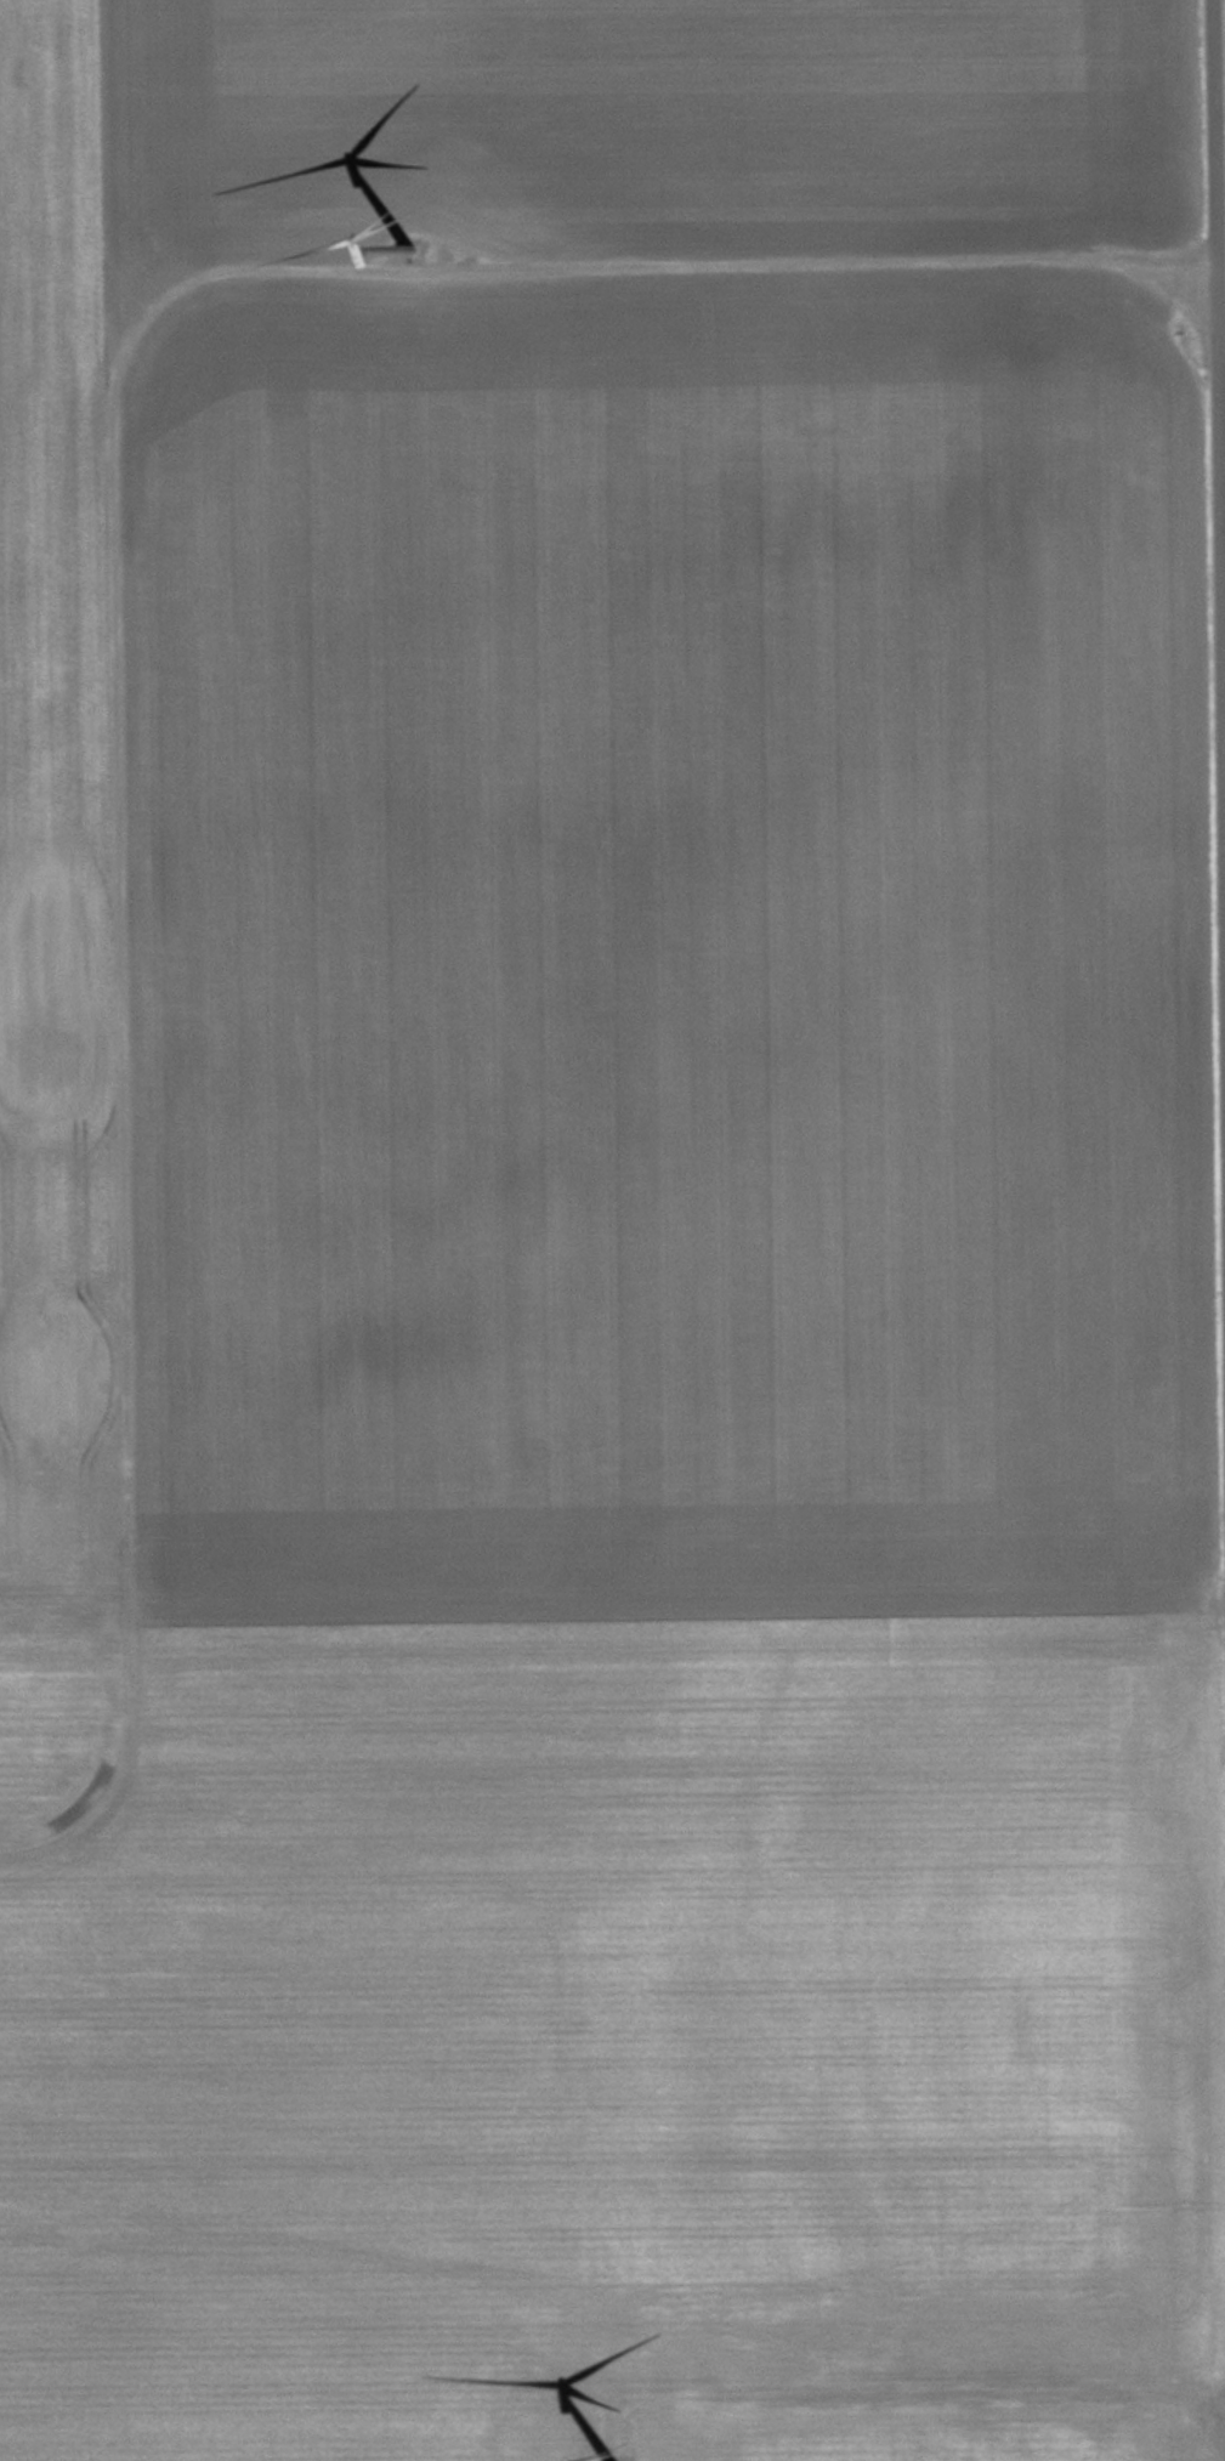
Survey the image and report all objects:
road: (1221, 132)
wind turbine: (399, 209)
road: (118, 582)
road: (949, 2404)

